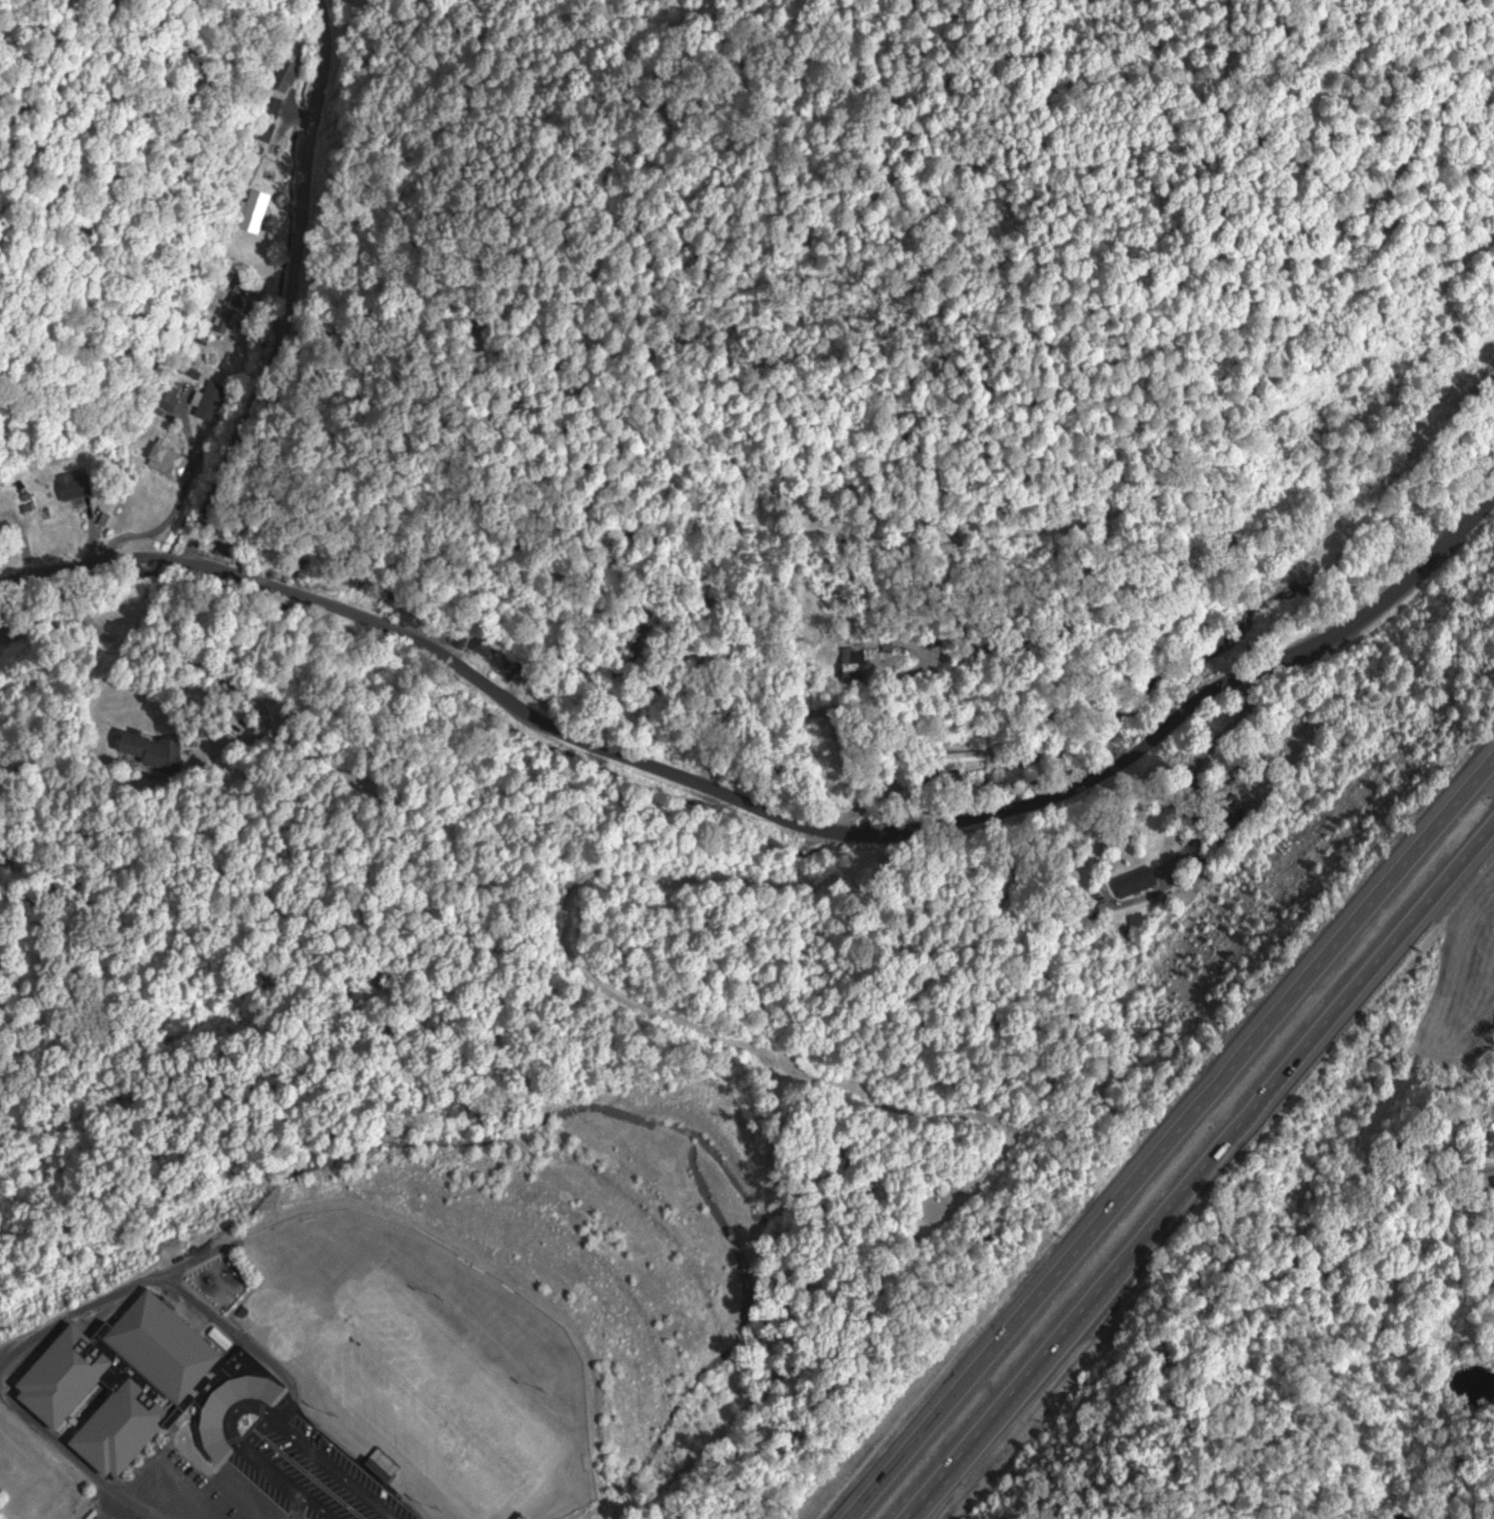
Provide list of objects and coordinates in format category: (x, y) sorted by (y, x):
building: (285, 79)
building: (259, 210)
road: (290, 288)
building: (180, 375)
building: (220, 396)
road: (870, 412)
building: (170, 457)
building: (70, 488)
road: (1345, 505)
road: (155, 534)
road: (159, 557)
road: (73, 565)
road: (60, 576)
road: (73, 591)
building: (486, 643)
road: (210, 661)
building: (520, 663)
building: (858, 663)
road: (1255, 676)
road: (1249, 699)
road: (691, 747)
building: (151, 749)
road: (1202, 780)
road: (1488, 780)
road: (849, 831)
building: (1138, 881)
road: (1368, 969)
road: (1171, 1140)
road: (1077, 1318)
building: (144, 1383)
parking lot: (306, 1466)
road: (327, 1468)
road: (285, 1481)
road: (319, 1497)

